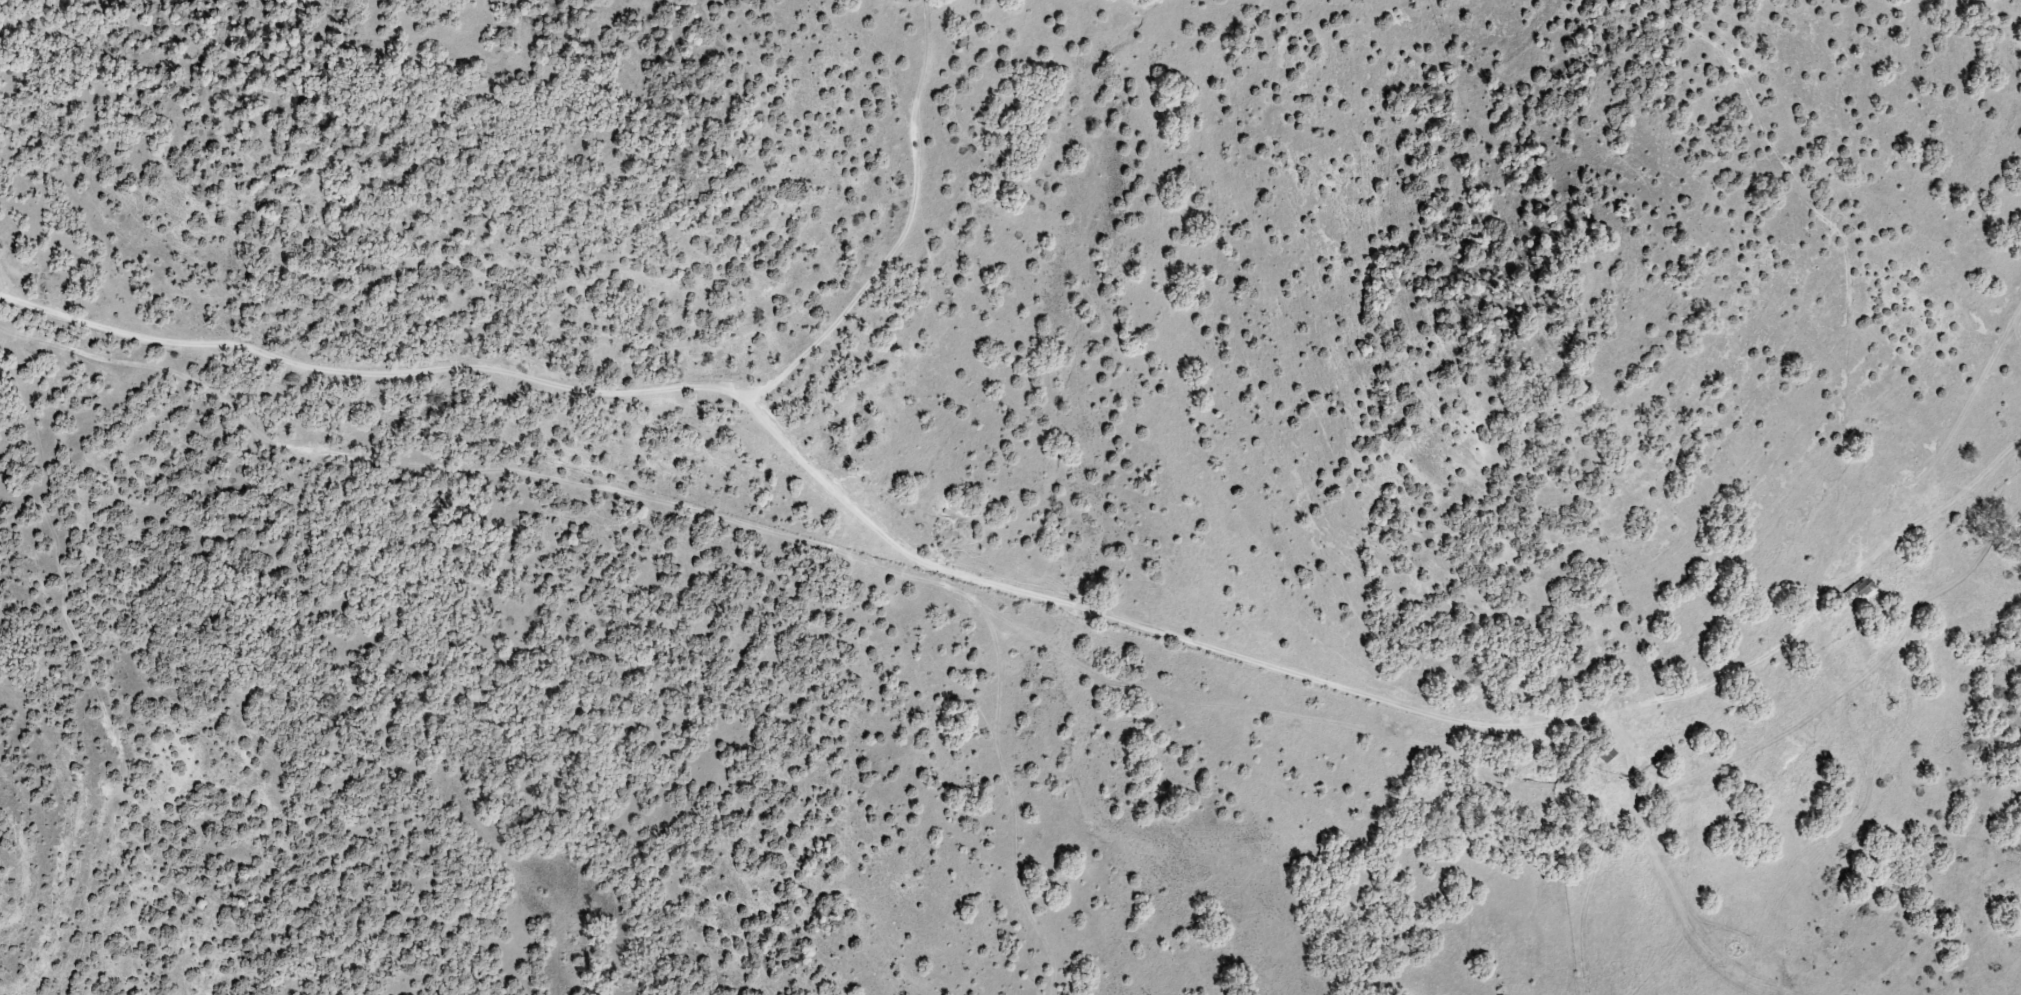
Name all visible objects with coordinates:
building: (1861, 588)

